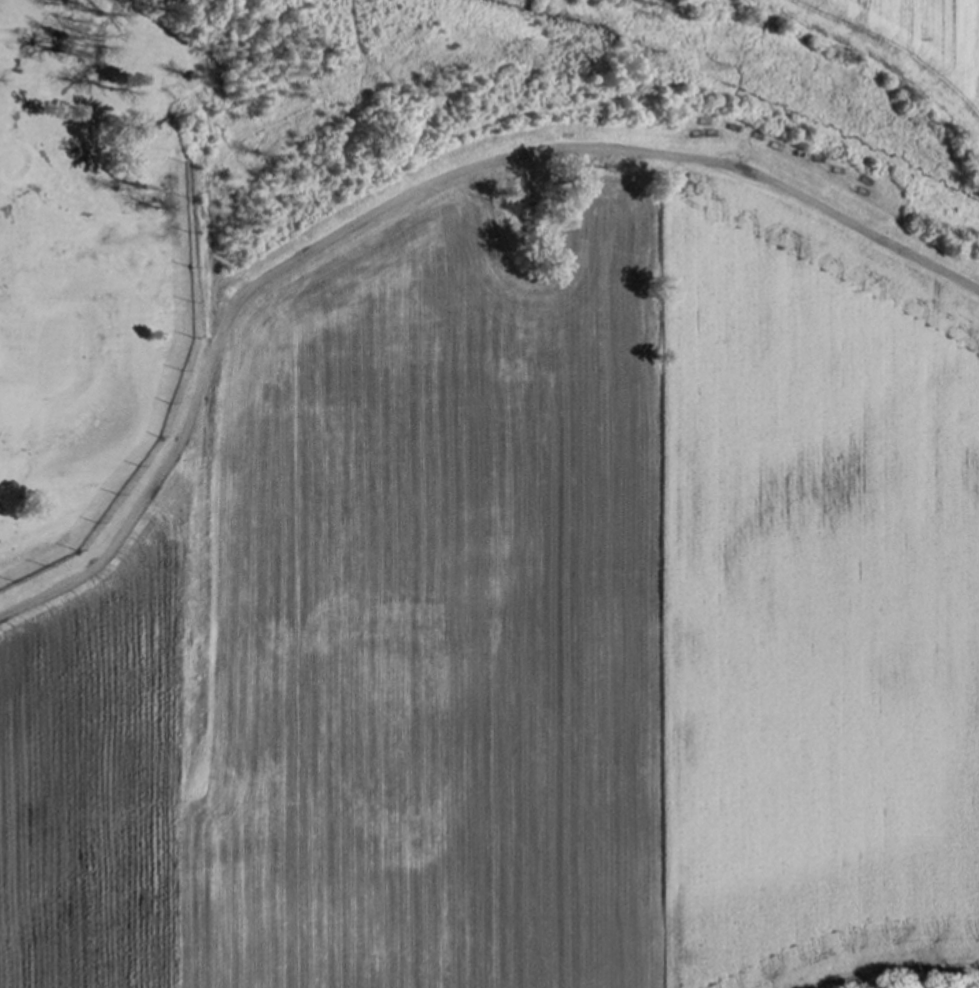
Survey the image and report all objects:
road: (406, 196)
park: (124, 227)
crop: (541, 531)

